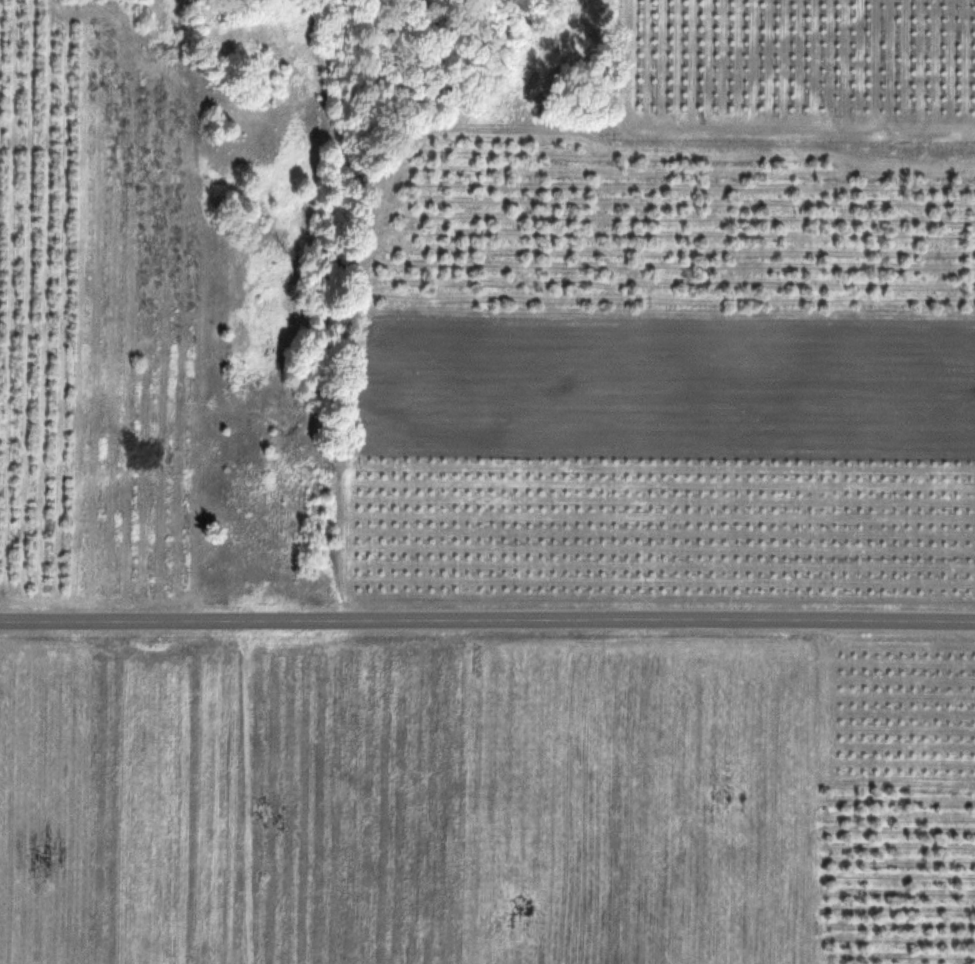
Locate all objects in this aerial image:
road: (487, 623)

